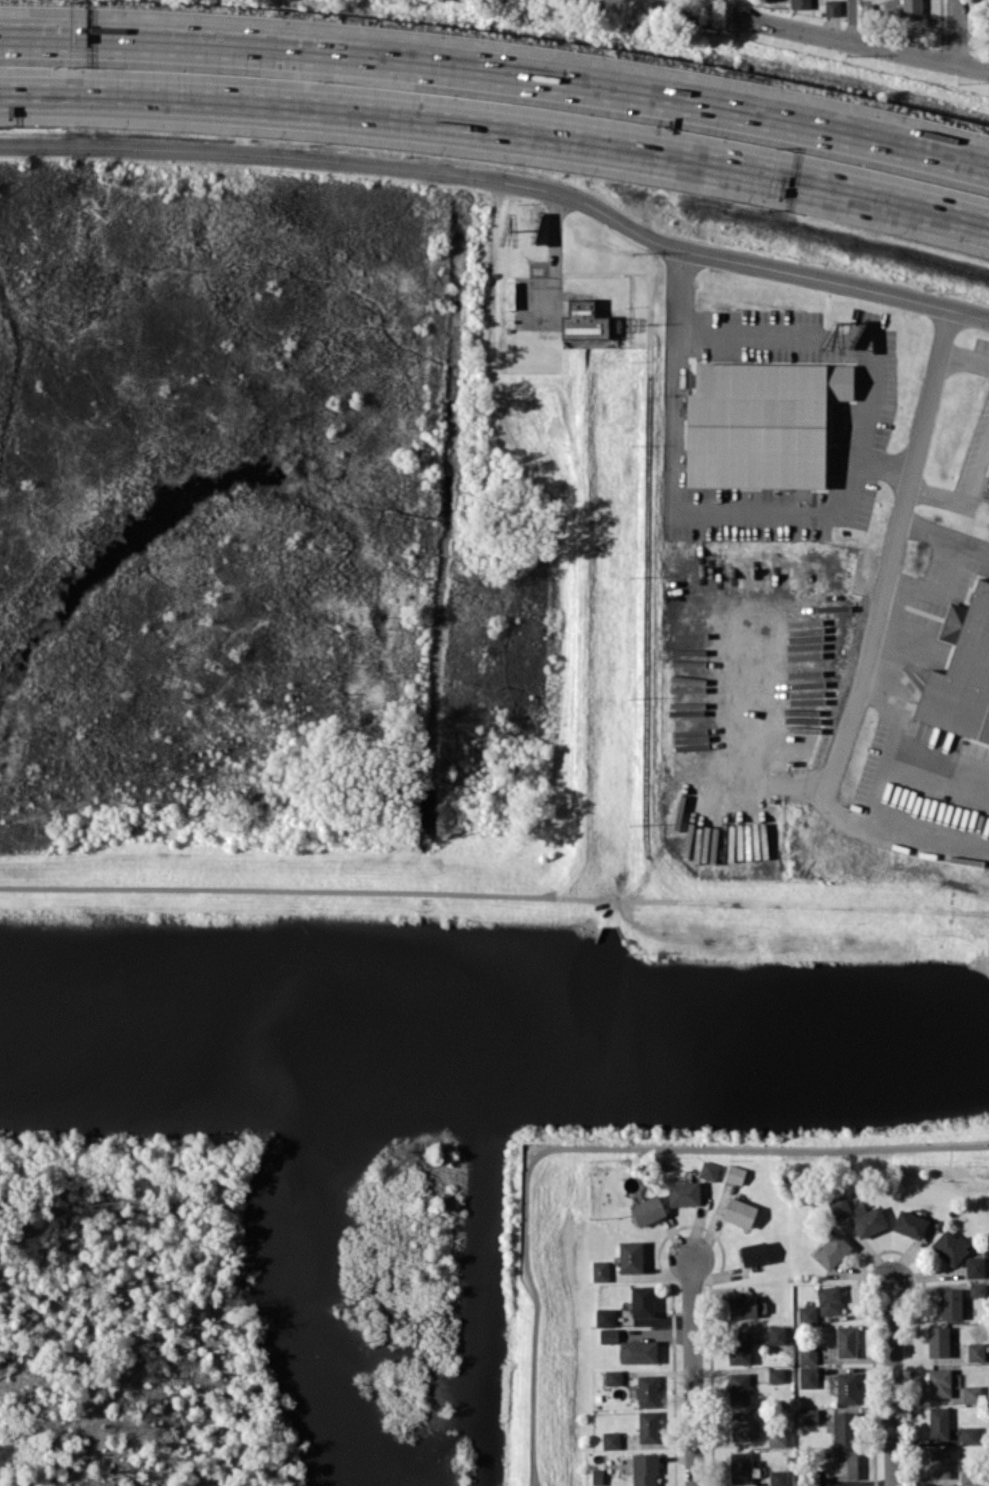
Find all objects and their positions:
building: (799, 4)
building: (831, 7)
road: (741, 8)
building: (868, 9)
building: (911, 9)
road: (851, 20)
road: (957, 32)
road: (865, 43)
road: (498, 71)
road: (498, 131)
road: (333, 161)
road: (821, 278)
building: (511, 295)
building: (583, 321)
road: (824, 334)
road: (964, 360)
building: (761, 423)
road: (982, 458)
building: (988, 476)
road: (982, 482)
road: (943, 498)
road: (680, 510)
road: (945, 535)
park: (233, 540)
road: (871, 641)
building: (961, 672)
road: (278, 890)
river: (495, 1036)
road: (595, 1146)
building: (709, 1170)
building: (735, 1174)
building: (683, 1193)
building: (839, 1206)
building: (647, 1210)
building: (739, 1212)
building: (868, 1220)
building: (909, 1223)
building: (950, 1247)
building: (832, 1250)
building: (754, 1252)
building: (630, 1256)
building: (974, 1266)
building: (600, 1270)
building: (977, 1290)
building: (642, 1300)
building: (828, 1300)
building: (950, 1303)
building: (742, 1306)
building: (807, 1314)
building: (605, 1317)
building: (776, 1334)
building: (608, 1335)
building: (845, 1341)
building: (938, 1341)
building: (739, 1347)
building: (637, 1351)
building: (975, 1351)
building: (807, 1354)
road: (693, 1371)
building: (776, 1374)
building: (613, 1377)
building: (808, 1377)
building: (939, 1382)
road: (893, 1384)
building: (846, 1387)
building: (738, 1388)
building: (647, 1391)
building: (972, 1394)
building: (808, 1416)
building: (938, 1423)
building: (648, 1426)
building: (740, 1426)
building: (841, 1427)
building: (969, 1434)
building: (776, 1439)
building: (611, 1440)
building: (938, 1462)
building: (844, 1465)
building: (740, 1467)
building: (644, 1469)
building: (968, 1475)
road: (537, 1476)
building: (597, 1476)
building: (778, 1477)
building: (810, 1477)

